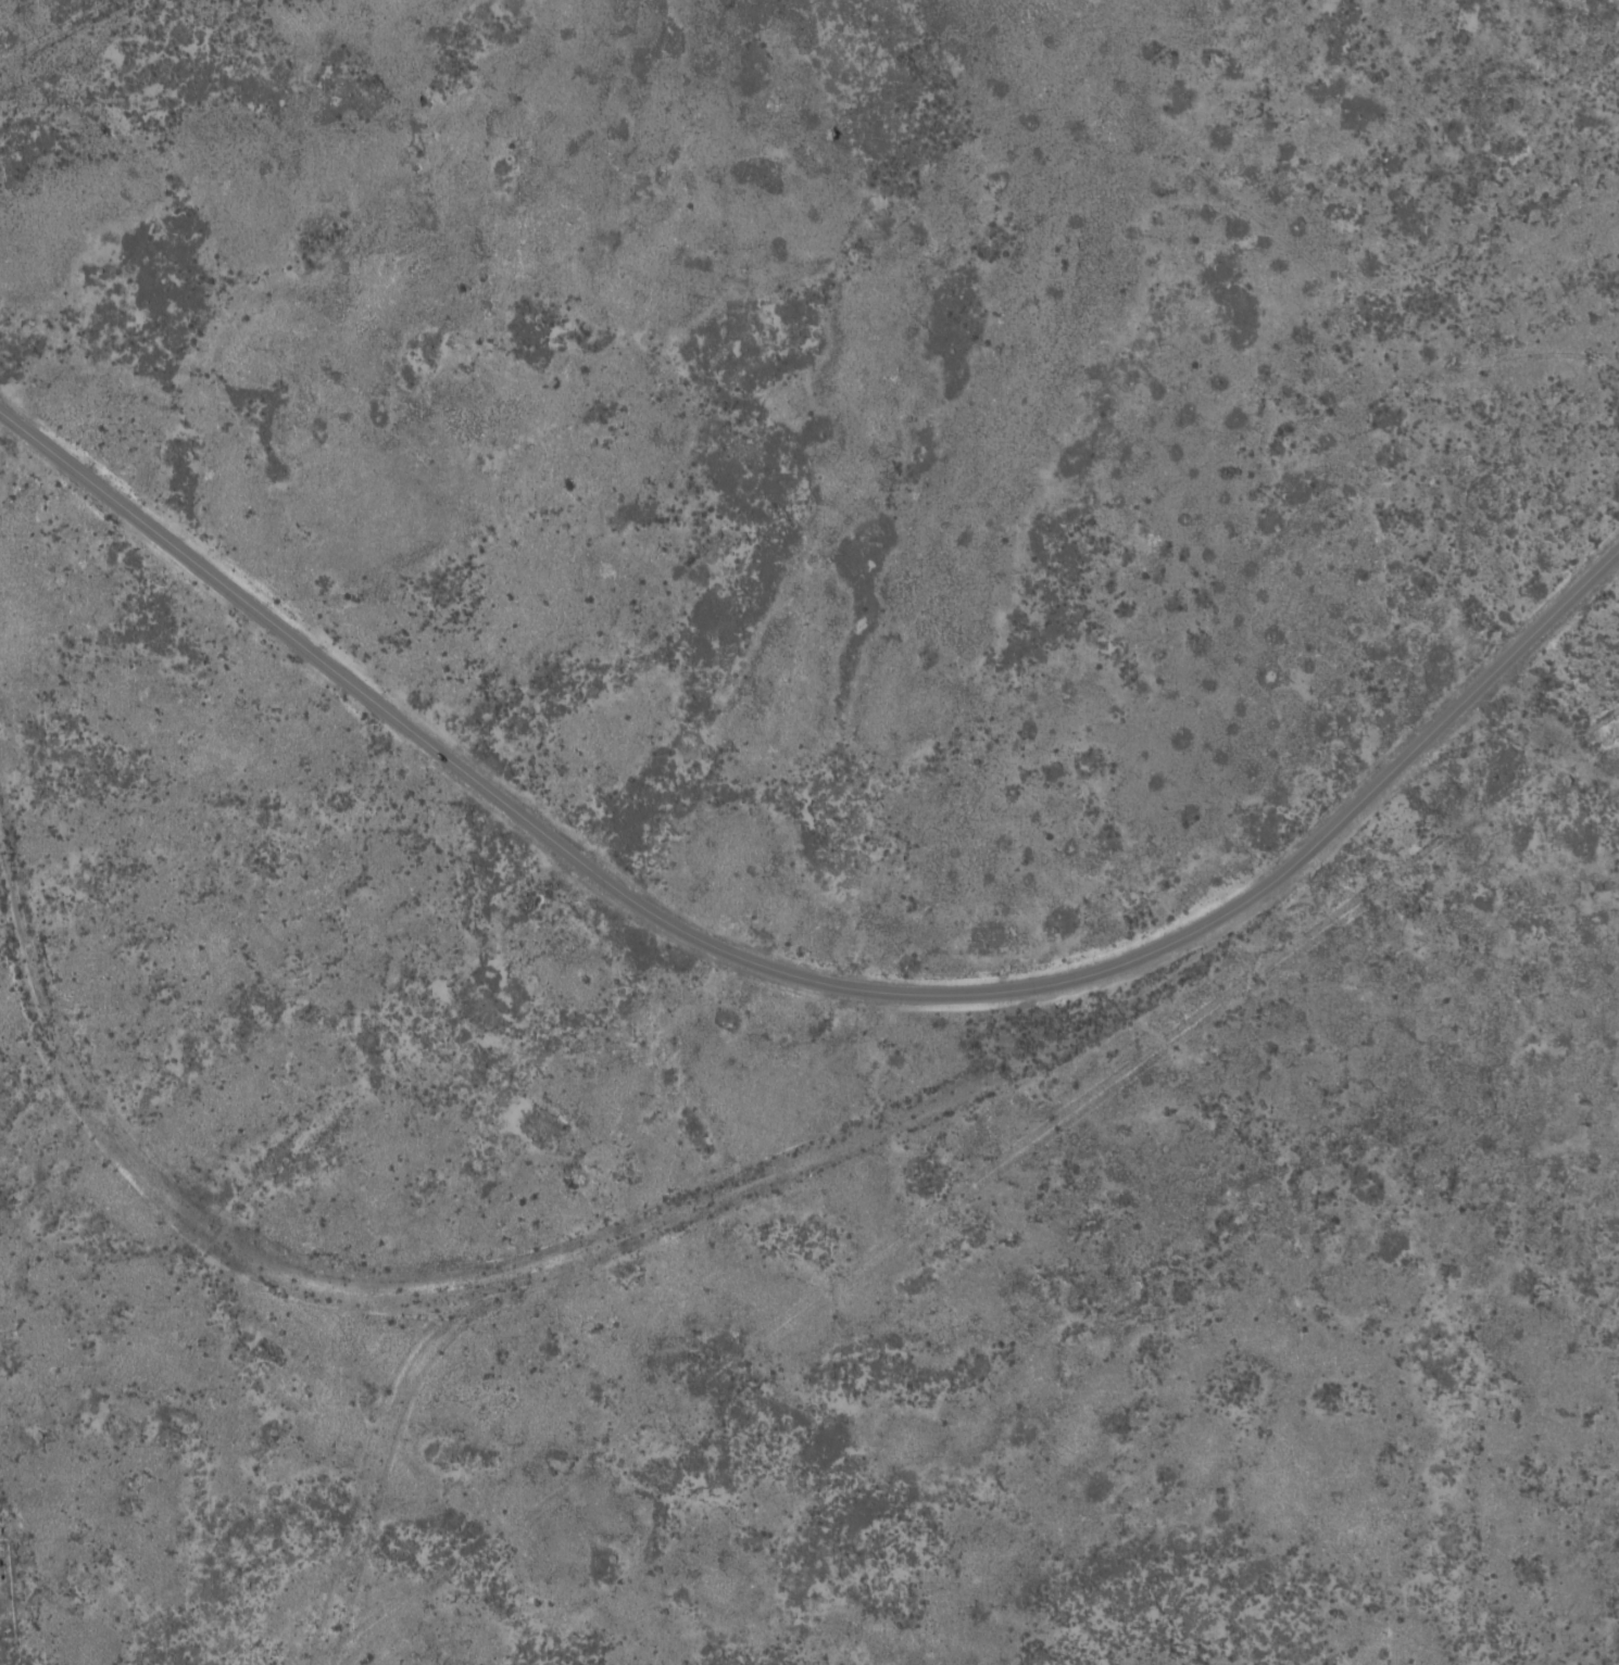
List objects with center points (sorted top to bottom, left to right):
road: (798, 983)

